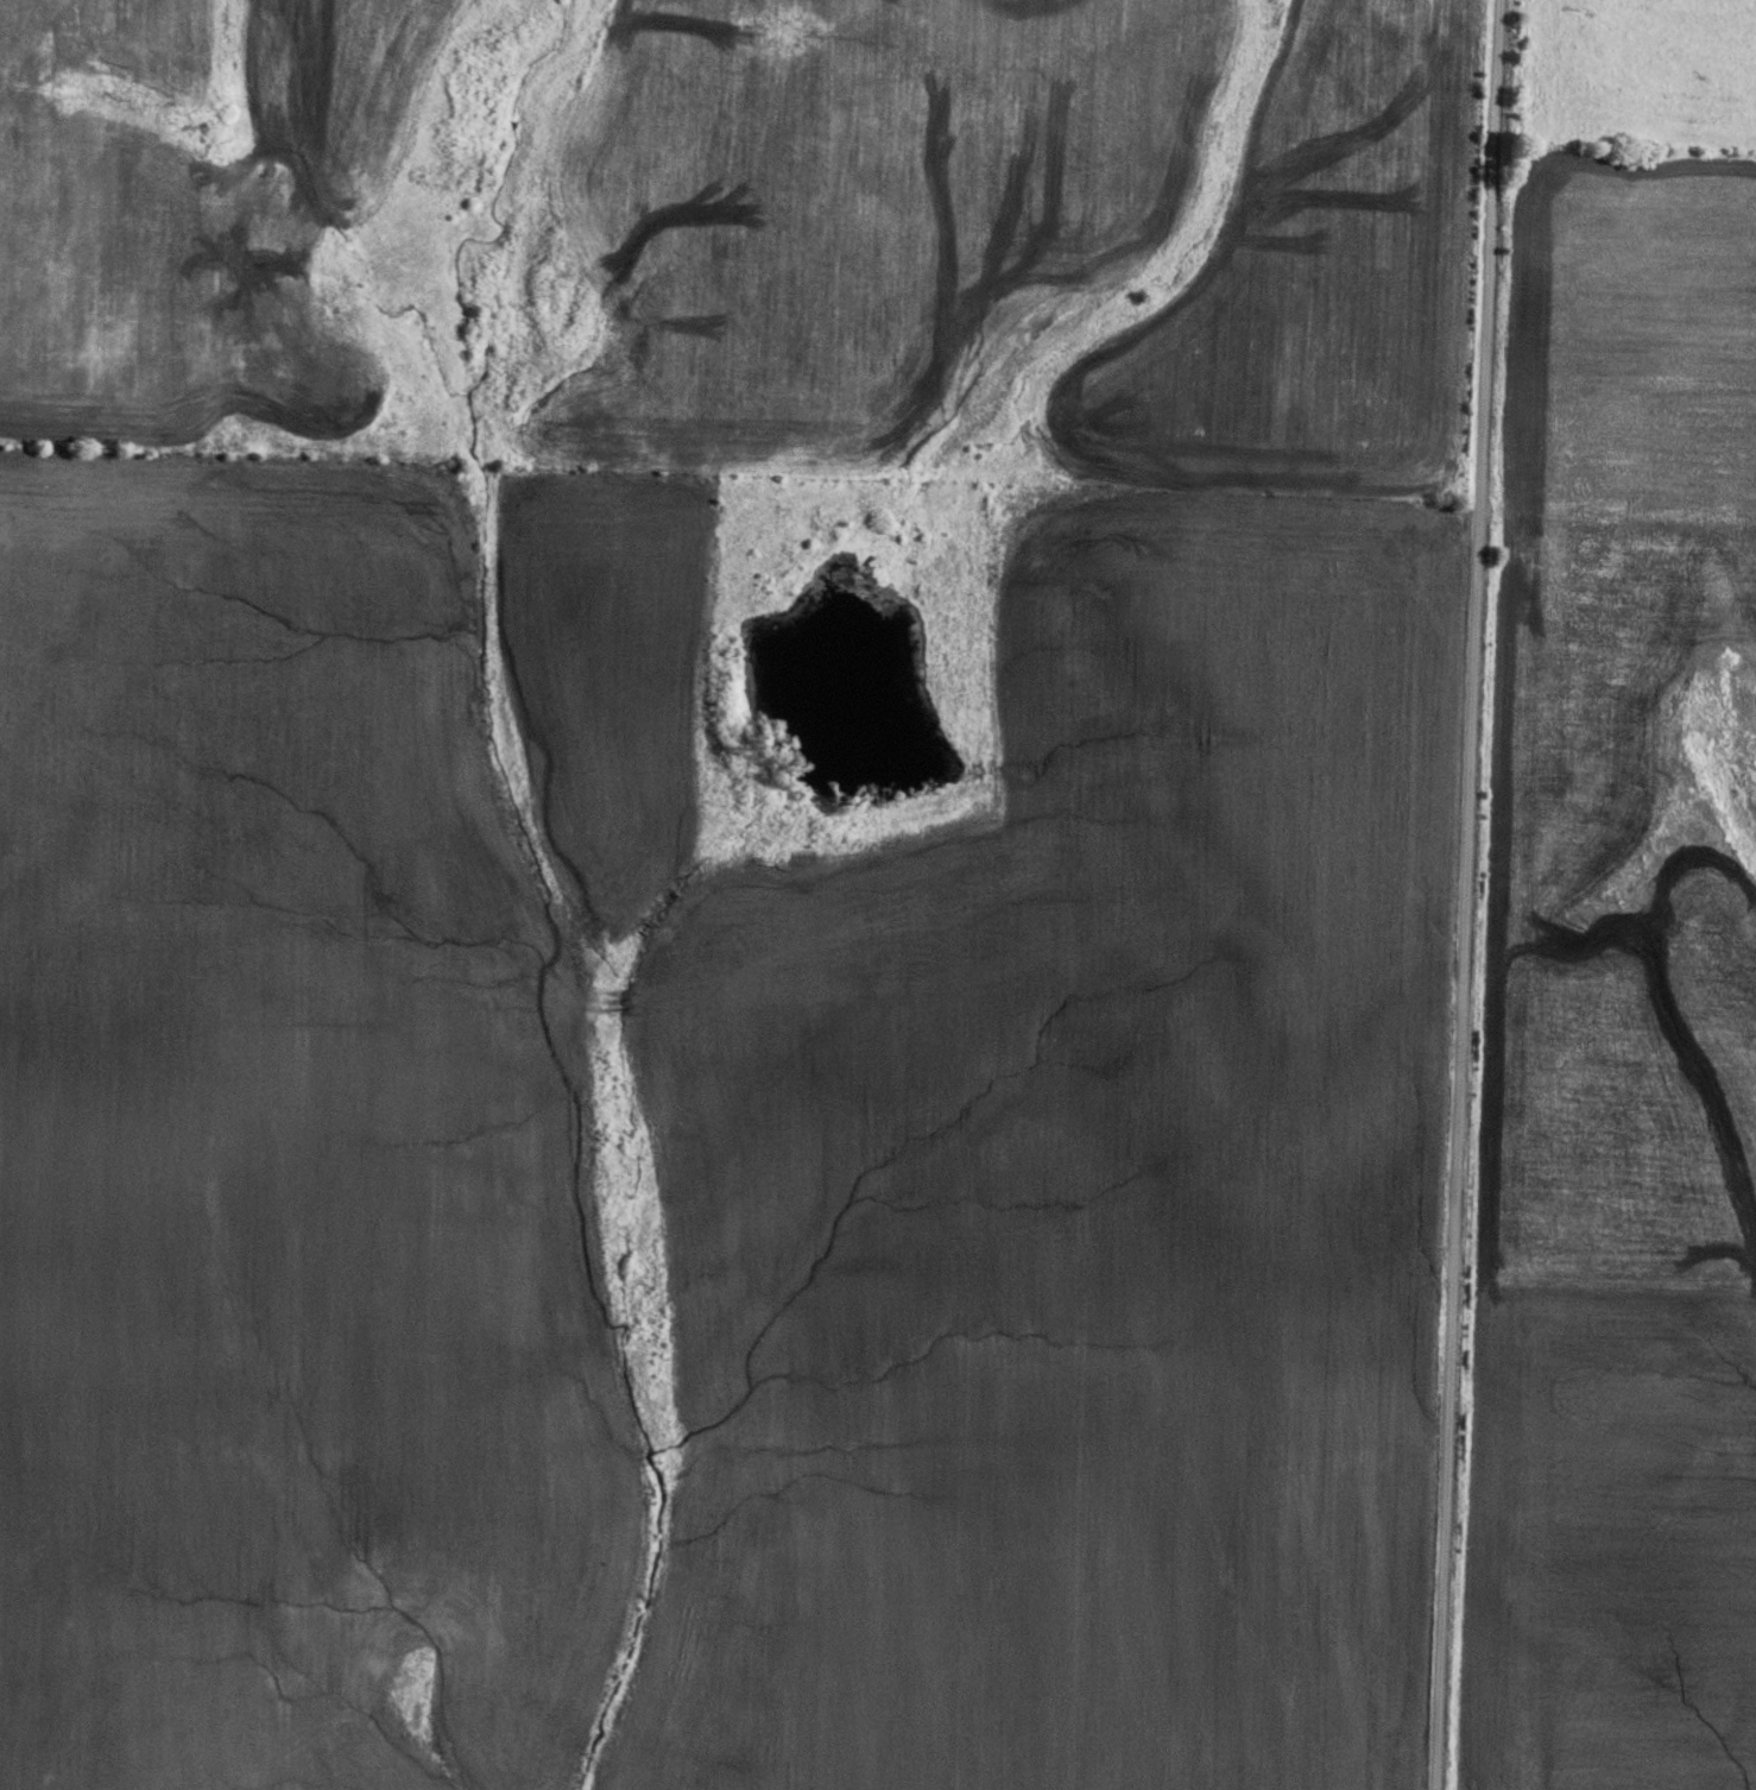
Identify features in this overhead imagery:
road: (1465, 894)

